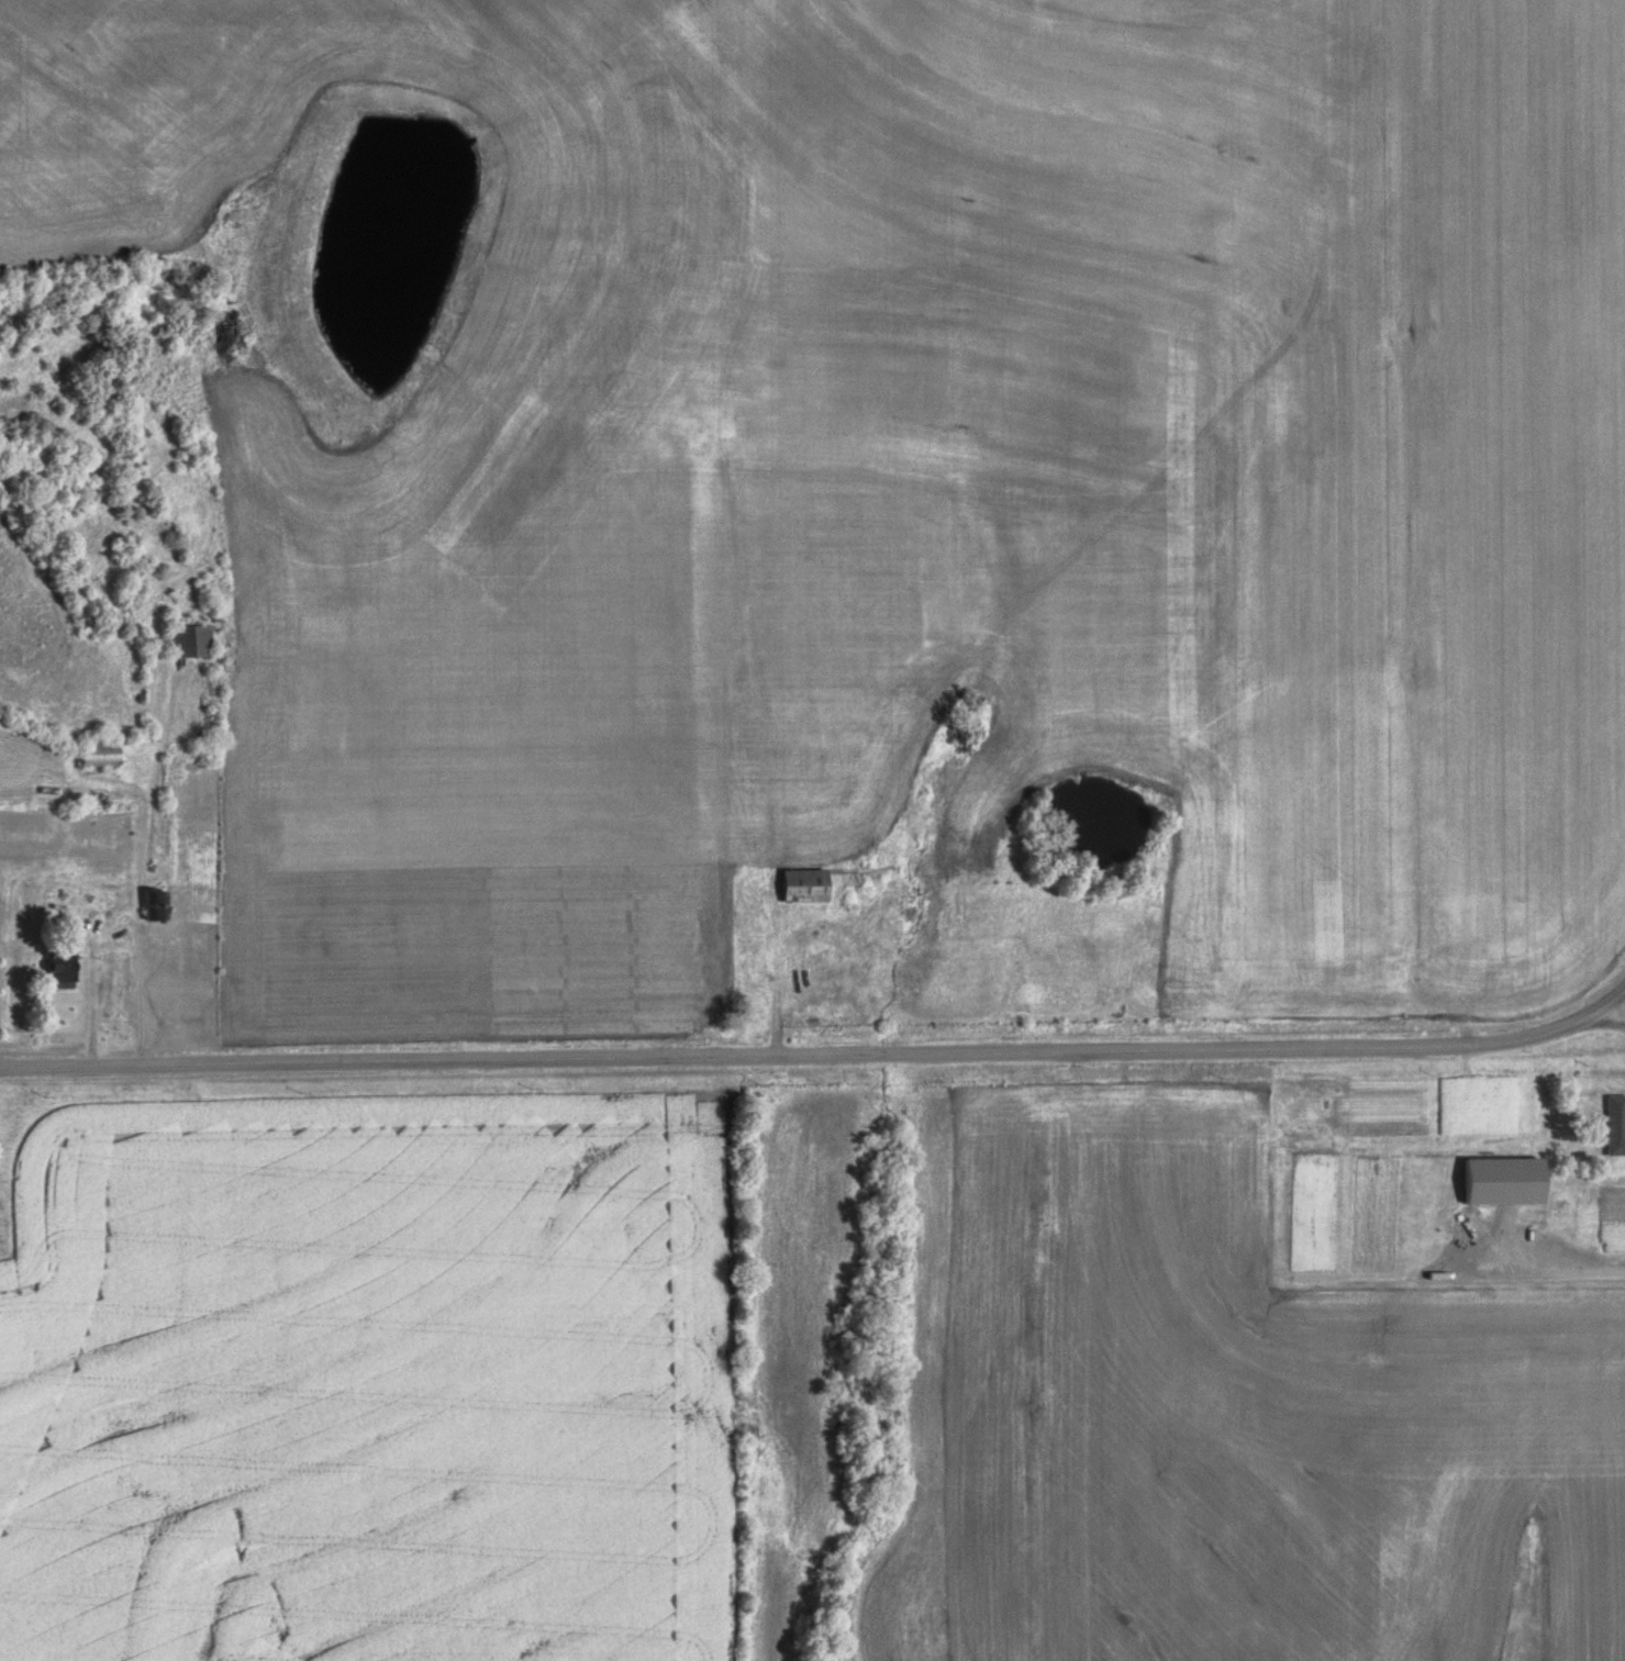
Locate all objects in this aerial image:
building: (187, 638)
building: (96, 753)
road: (147, 865)
building: (800, 884)
building: (153, 904)
building: (89, 917)
building: (57, 965)
road: (1622, 1004)
road: (817, 1056)
building: (1287, 1101)
building: (1614, 1124)
building: (1499, 1179)

